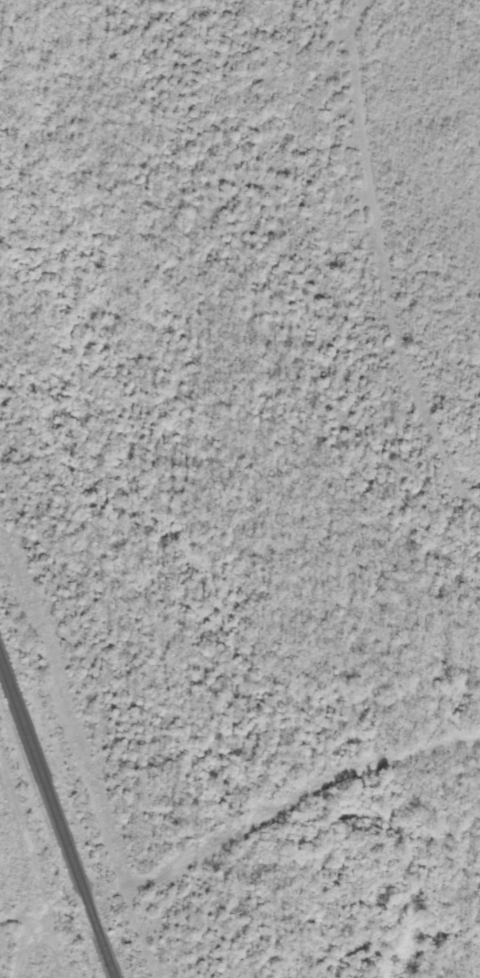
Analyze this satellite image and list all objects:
railway: (56, 819)
road: (257, 819)
road: (15, 866)

